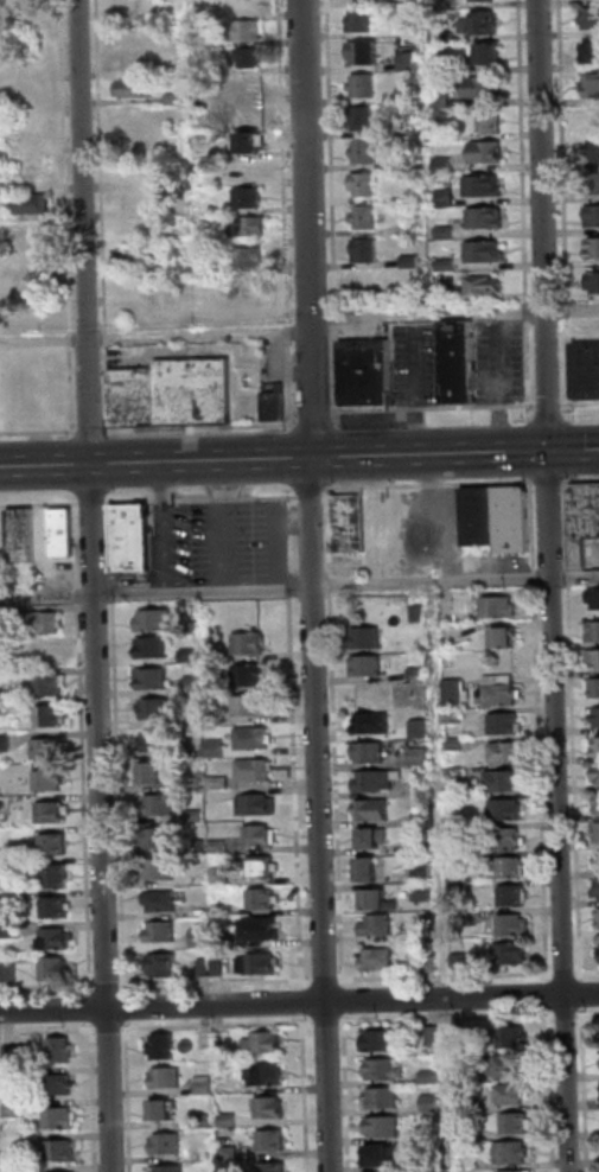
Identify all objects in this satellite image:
building: (476, 0)
building: (383, 2)
building: (588, 19)
building: (355, 20)
building: (474, 24)
building: (240, 31)
building: (434, 34)
building: (358, 53)
building: (590, 53)
building: (483, 55)
building: (244, 57)
building: (133, 59)
building: (402, 62)
building: (435, 65)
building: (199, 70)
building: (247, 85)
building: (358, 85)
building: (590, 85)
building: (477, 88)
building: (128, 90)
building: (436, 98)
building: (171, 100)
building: (247, 112)
building: (357, 119)
building: (486, 121)
building: (402, 128)
building: (244, 144)
building: (358, 152)
building: (591, 152)
building: (482, 153)
building: (436, 165)
building: (248, 167)
building: (591, 184)
building: (358, 185)
building: (478, 186)
building: (243, 198)
building: (439, 198)
building: (28, 202)
building: (193, 202)
road: (327, 206)
road: (280, 212)
road: (560, 212)
road: (518, 214)
building: (590, 216)
road: (62, 217)
road: (96, 217)
building: (361, 217)
building: (480, 217)
building: (242, 225)
building: (404, 229)
building: (28, 230)
building: (440, 233)
building: (591, 249)
building: (361, 250)
building: (479, 253)
building: (244, 257)
building: (129, 259)
building: (406, 262)
building: (440, 263)
building: (594, 280)
building: (484, 285)
building: (25, 287)
road: (455, 314)
road: (157, 337)
building: (459, 359)
parking lot: (502, 361)
parking lot: (418, 363)
building: (587, 368)
building: (368, 370)
building: (176, 391)
building: (276, 401)
road: (580, 402)
road: (550, 403)
road: (435, 407)
road: (316, 416)
building: (0, 420)
road: (200, 426)
road: (91, 431)
road: (39, 432)
road: (531, 450)
road: (572, 450)
traffic signals: (552, 451)
road: (299, 458)
road: (574, 478)
road: (582, 479)
road: (550, 480)
road: (431, 484)
road: (313, 492)
road: (203, 499)
road: (212, 502)
road: (95, 503)
road: (40, 504)
building: (482, 515)
building: (514, 517)
building: (585, 521)
building: (350, 522)
road: (164, 527)
building: (64, 531)
building: (24, 534)
building: (134, 536)
parking lot: (189, 546)
road: (214, 548)
road: (458, 581)
road: (96, 585)
road: (317, 585)
road: (554, 585)
road: (158, 593)
building: (595, 595)
building: (499, 606)
building: (5, 612)
building: (420, 612)
building: (157, 620)
building: (45, 623)
building: (594, 632)
building: (368, 637)
building: (506, 637)
building: (251, 643)
building: (154, 646)
building: (45, 651)
building: (191, 655)
building: (594, 657)
building: (369, 665)
building: (420, 673)
building: (249, 675)
building: (6, 676)
building: (154, 677)
building: (501, 679)
building: (52, 684)
building: (195, 686)
building: (218, 686)
building: (597, 686)
building: (455, 692)
building: (469, 694)
building: (501, 694)
building: (254, 706)
building: (7, 707)
building: (158, 709)
building: (594, 714)
building: (52, 716)
building: (455, 716)
building: (216, 718)
building: (374, 722)
building: (505, 724)
building: (421, 728)
road: (541, 730)
road: (575, 730)
road: (336, 737)
building: (255, 738)
building: (6, 741)
building: (159, 741)
road: (295, 744)
building: (457, 744)
road: (119, 747)
building: (49, 749)
road: (84, 749)
building: (217, 749)
building: (369, 751)
building: (597, 751)
building: (509, 752)
building: (421, 757)
building: (255, 769)
building: (155, 772)
building: (458, 772)
building: (595, 772)
building: (51, 779)
building: (376, 781)
building: (505, 781)
building: (223, 782)
building: (197, 783)
building: (422, 789)
building: (597, 798)
building: (259, 804)
building: (161, 805)
building: (374, 809)
building: (508, 809)
building: (52, 811)
building: (197, 816)
building: (426, 817)
building: (595, 830)
building: (262, 835)
building: (374, 836)
building: (509, 836)
building: (159, 837)
building: (56, 845)
building: (221, 846)
building: (199, 847)
building: (459, 859)
building: (595, 859)
building: (9, 866)
building: (263, 867)
building: (514, 867)
building: (369, 868)
building: (161, 870)
building: (425, 871)
building: (60, 875)
building: (222, 875)
building: (197, 879)
building: (460, 885)
building: (423, 891)
building: (598, 891)
building: (514, 896)
building: (12, 899)
building: (263, 899)
building: (380, 899)
building: (163, 900)
building: (58, 906)
building: (597, 917)
building: (464, 918)
building: (378, 924)
building: (516, 924)
building: (262, 929)
building: (163, 930)
building: (13, 931)
building: (202, 937)
building: (57, 938)
building: (512, 953)
building: (378, 957)
building: (461, 961)
building: (260, 963)
building: (432, 963)
building: (165, 964)
building: (206, 967)
building: (218, 967)
building: (57, 968)
road: (587, 972)
building: (12, 973)
road: (566, 973)
road: (447, 975)
road: (327, 981)
road: (217, 983)
road: (109, 985)
road: (47, 987)
road: (584, 993)
road: (549, 995)
road: (345, 1000)
road: (304, 1001)
road: (299, 1002)
road: (93, 1007)
road: (127, 1007)
road: (588, 1014)
road: (567, 1015)
road: (450, 1019)
road: (329, 1021)
road: (219, 1025)
road: (111, 1028)
road: (49, 1030)
building: (434, 1034)
building: (514, 1036)
building: (384, 1040)
building: (265, 1043)
building: (164, 1046)
building: (62, 1049)
building: (15, 1055)
building: (0, 1056)
building: (511, 1065)
building: (385, 1069)
building: (17, 1074)
building: (266, 1075)
building: (466, 1076)
building: (166, 1077)
building: (432, 1077)
building: (59, 1084)
building: (205, 1084)
road: (553, 1089)
road: (587, 1089)
road: (306, 1093)
road: (348, 1093)
building: (512, 1094)
road: (130, 1096)
road: (95, 1097)
building: (383, 1097)
building: (433, 1103)
building: (270, 1107)
building: (18, 1108)
building: (164, 1109)
building: (62, 1117)
building: (230, 1120)
building: (206, 1121)
building: (517, 1122)
building: (385, 1126)
building: (0, 1127)
building: (470, 1132)
building: (273, 1140)
building: (167, 1144)
building: (64, 1151)
building: (231, 1152)
building: (514, 1152)
building: (382, 1154)
building: (2, 1159)
building: (436, 1160)
building: (274, 1167)
building: (168, 1168)
building: (59, 1171)
building: (523, 1171)

